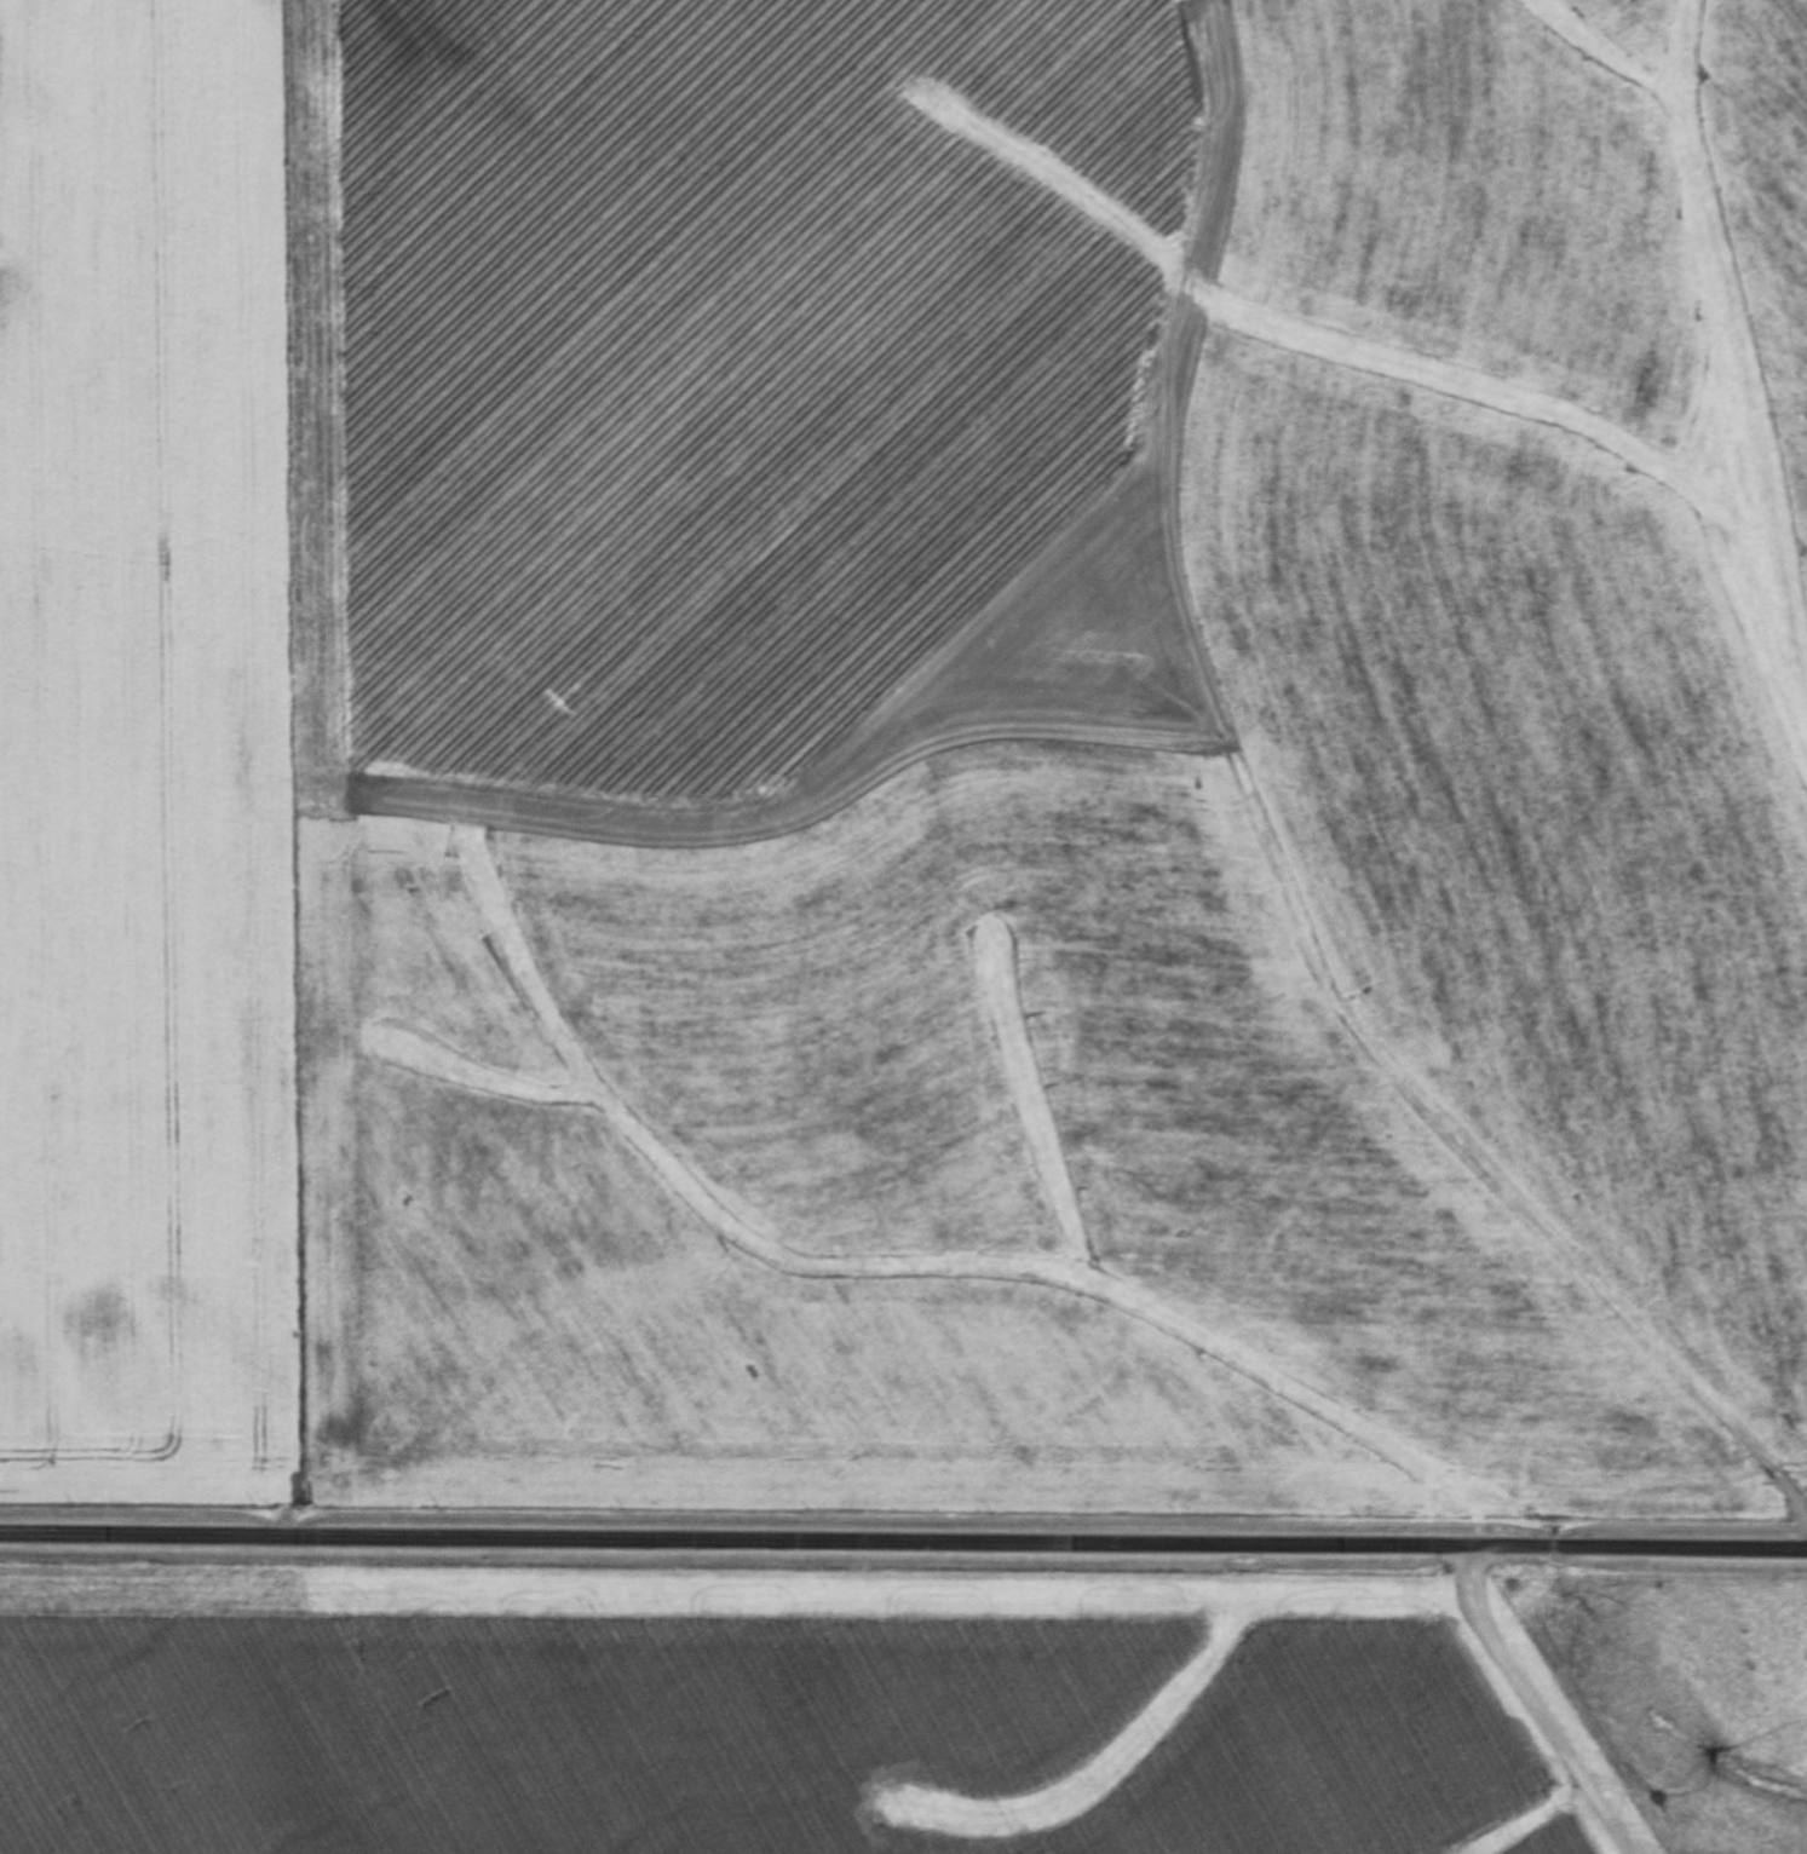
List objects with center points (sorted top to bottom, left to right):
road: (903, 1545)
road: (1535, 1706)

